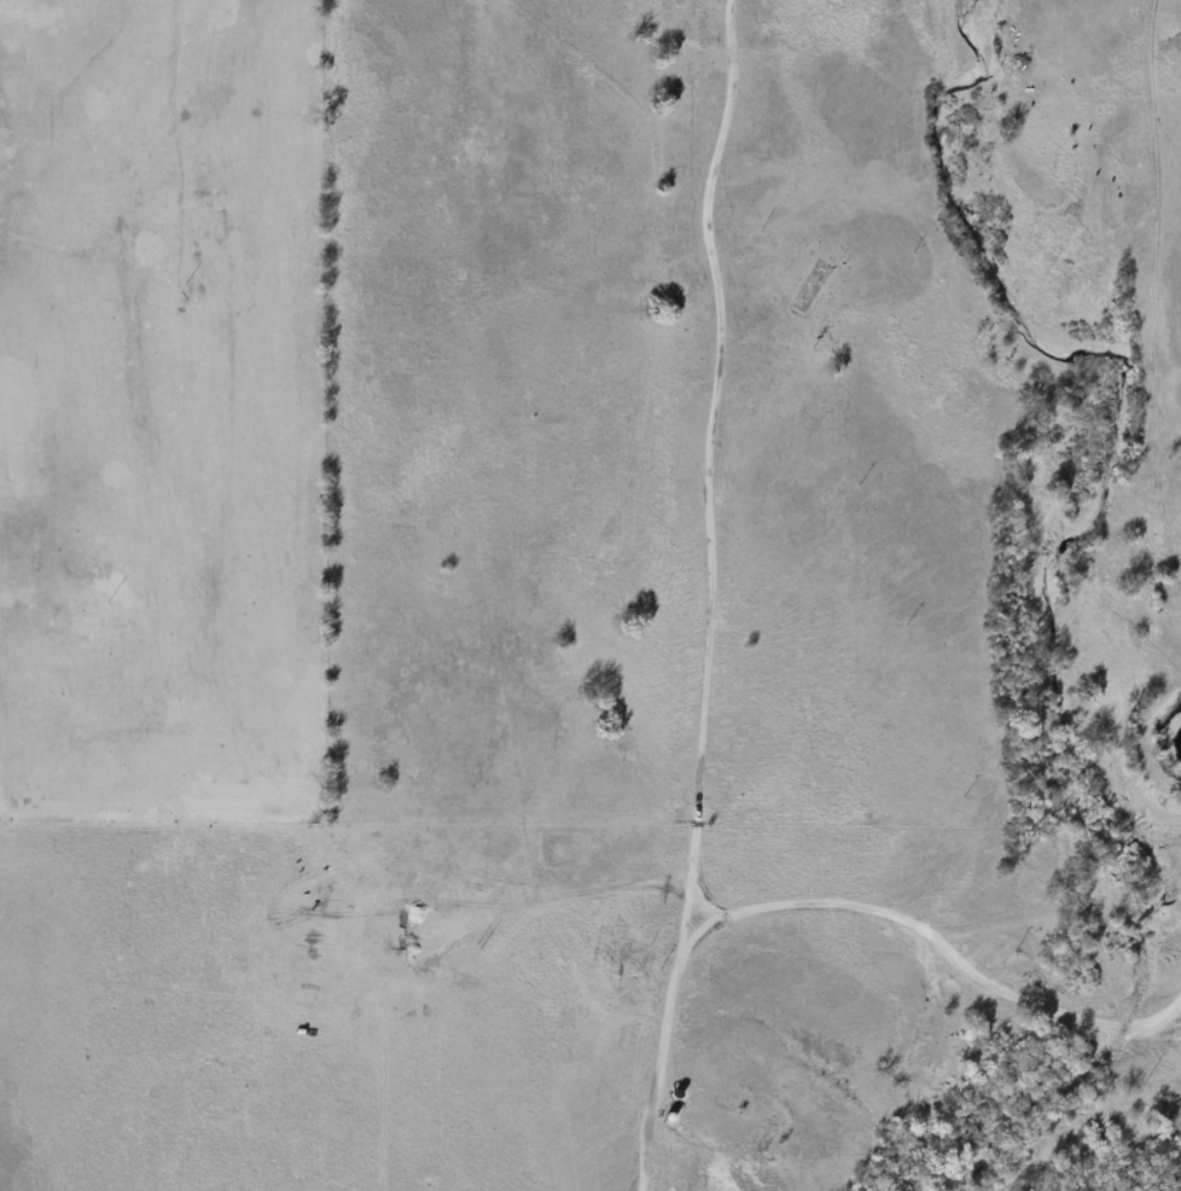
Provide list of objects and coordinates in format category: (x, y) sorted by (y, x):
road: (699, 597)
road: (702, 900)
road: (935, 941)

